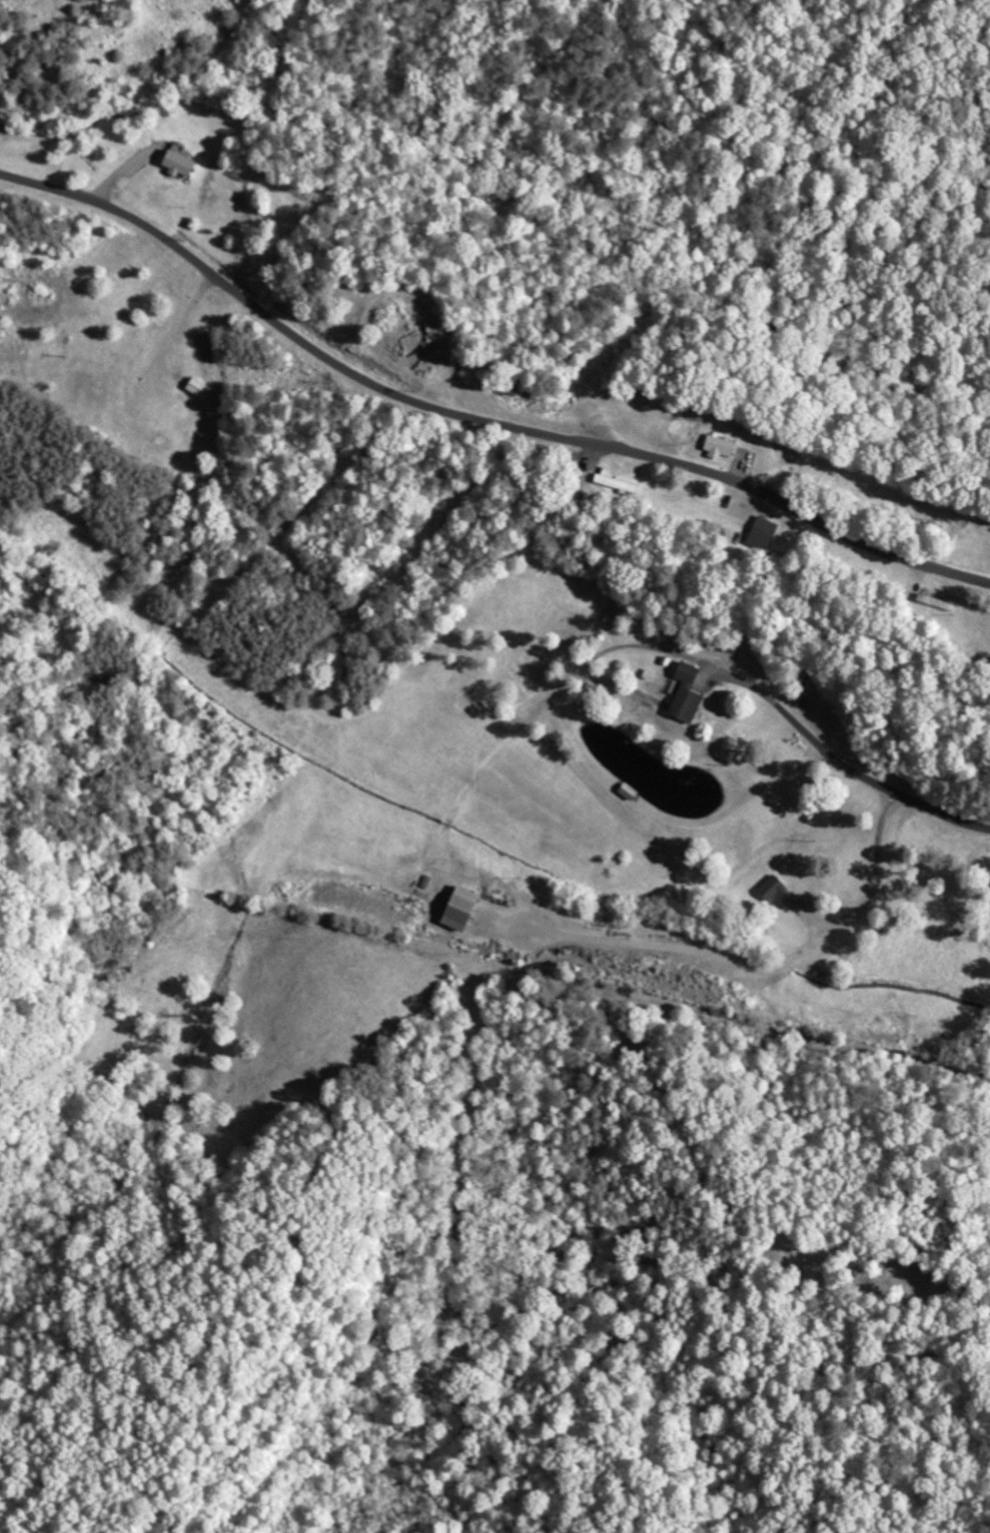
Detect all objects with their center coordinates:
building: (176, 164)
road: (476, 420)
building: (717, 448)
building: (612, 482)
building: (760, 534)
building: (683, 693)
road: (899, 796)
building: (769, 888)
building: (455, 907)

